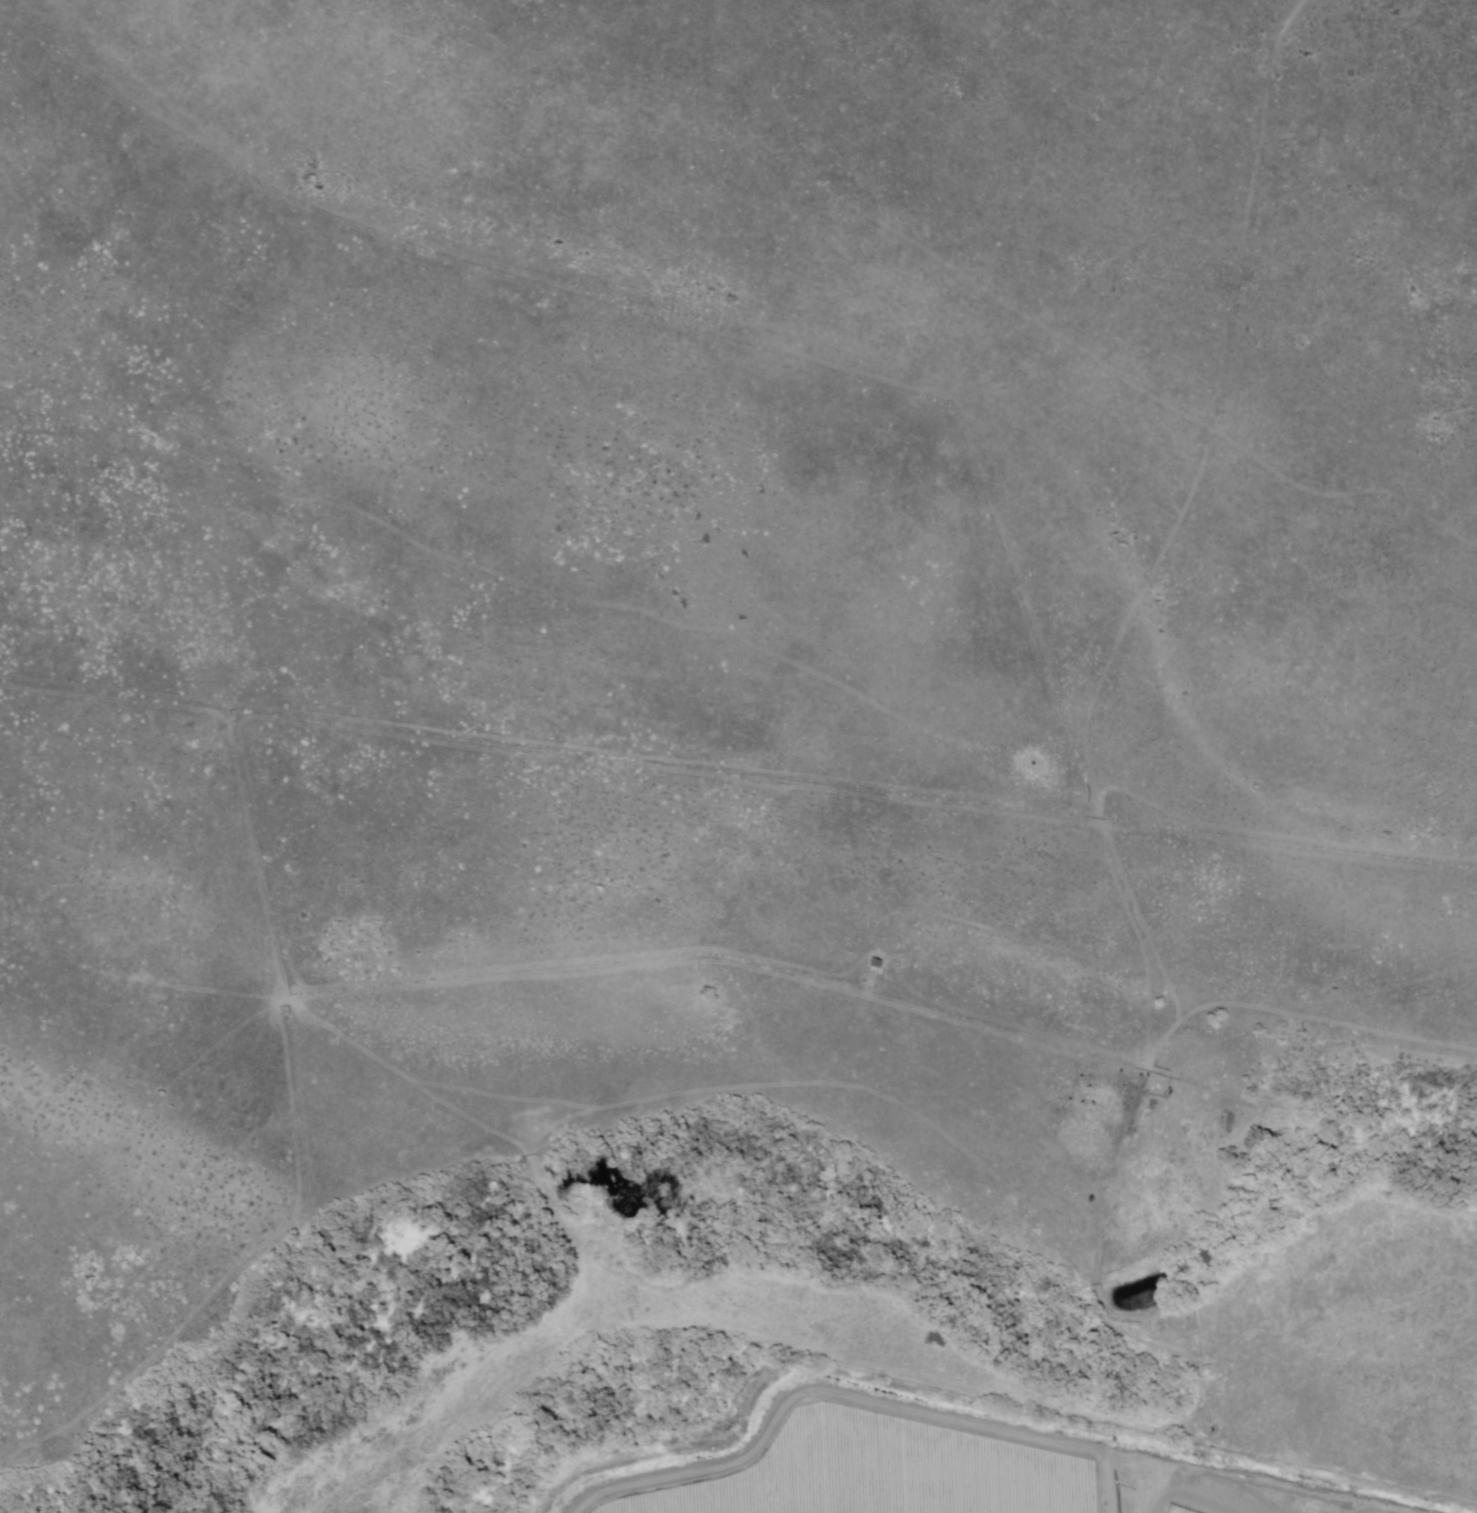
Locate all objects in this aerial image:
crop: (885, 1472)
crop: (1202, 1497)

